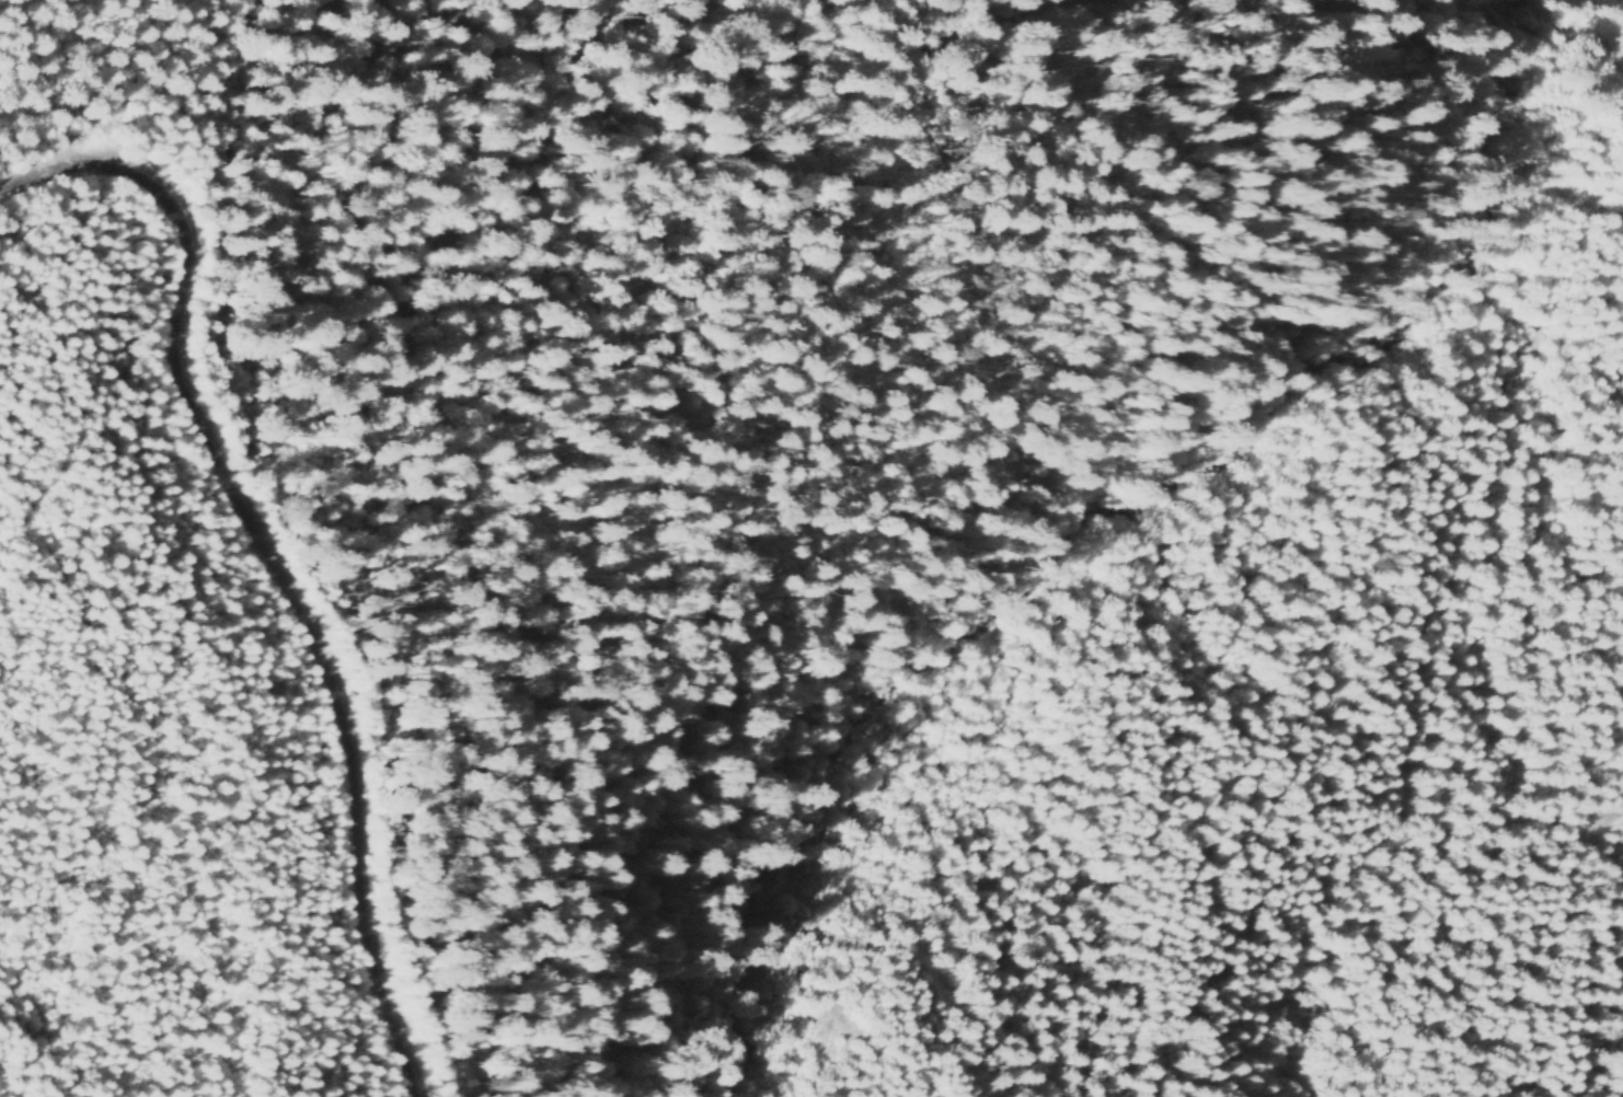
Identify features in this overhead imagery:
road: (267, 558)

